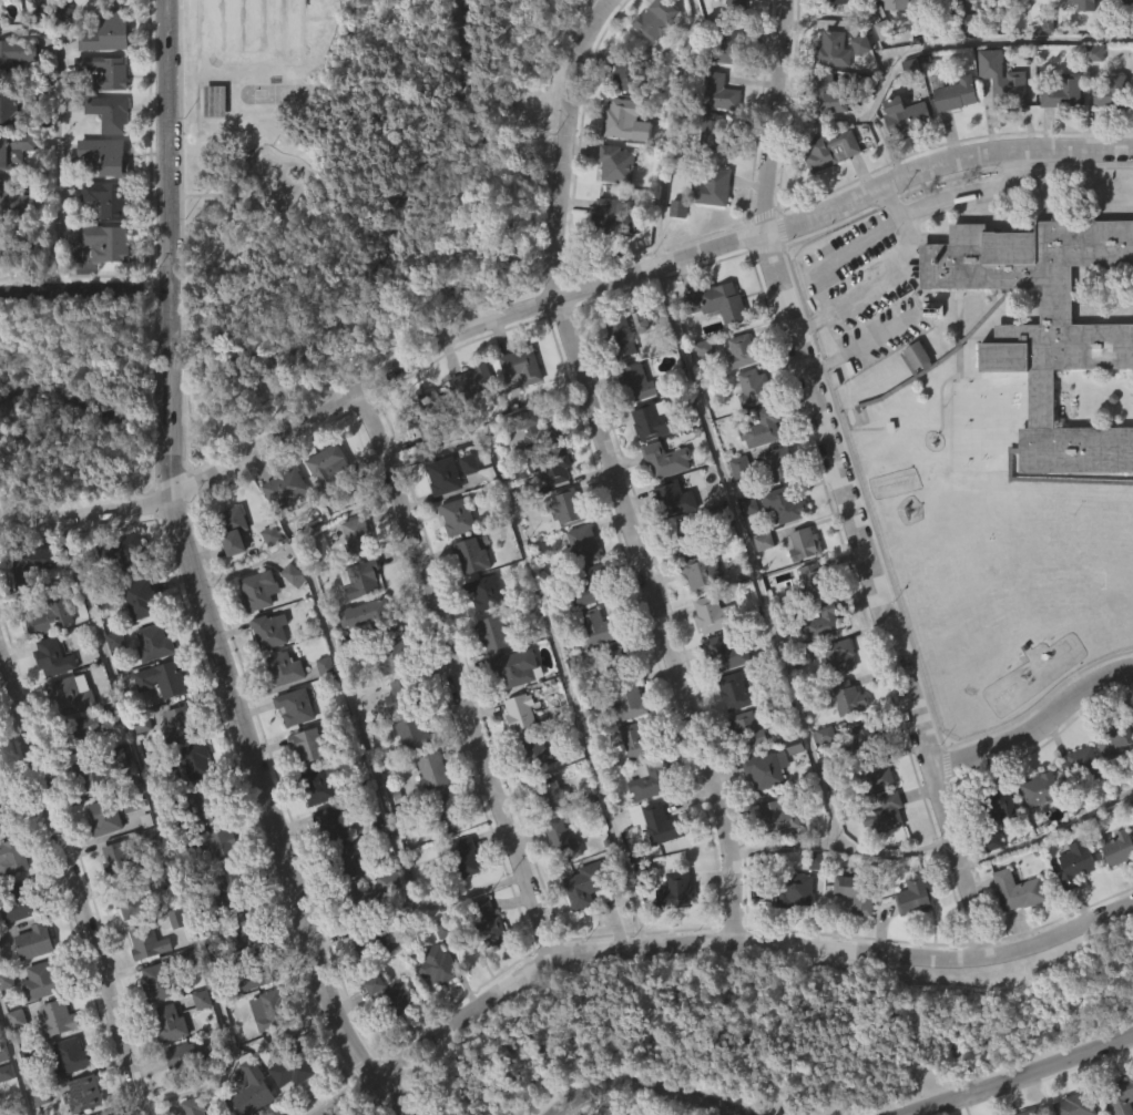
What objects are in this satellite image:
building: (839, 3)
building: (1129, 3)
building: (897, 4)
building: (978, 4)
building: (1082, 4)
building: (938, 6)
building: (6, 19)
building: (662, 19)
building: (94, 20)
building: (32, 22)
building: (1021, 25)
building: (977, 28)
building: (1117, 28)
building: (727, 30)
building: (836, 30)
building: (929, 30)
building: (110, 32)
building: (889, 32)
building: (1072, 33)
road: (933, 45)
building: (728, 47)
building: (834, 50)
building: (16, 52)
building: (652, 61)
building: (106, 71)
building: (879, 73)
building: (632, 74)
building: (857, 88)
building: (1002, 88)
building: (717, 91)
building: (1064, 91)
building: (1109, 92)
building: (957, 93)
building: (829, 94)
building: (1090, 96)
building: (1131, 98)
building: (18, 104)
building: (112, 112)
building: (909, 114)
building: (623, 120)
building: (999, 123)
road: (671, 130)
road: (62, 132)
building: (718, 132)
building: (1059, 135)
building: (1108, 136)
building: (951, 137)
road: (562, 142)
building: (211, 144)
building: (16, 147)
building: (830, 150)
building: (108, 153)
building: (900, 158)
building: (616, 164)
park: (357, 185)
building: (713, 187)
building: (827, 193)
building: (18, 195)
building: (110, 197)
road: (916, 207)
building: (614, 215)
road: (902, 219)
building: (707, 232)
building: (108, 241)
building: (16, 248)
building: (602, 258)
building: (573, 269)
road: (83, 286)
building: (102, 286)
building: (2, 289)
road: (850, 293)
road: (552, 298)
building: (721, 301)
building: (653, 316)
building: (1040, 334)
building: (621, 337)
road: (861, 340)
building: (713, 346)
building: (743, 351)
building: (1043, 370)
building: (522, 372)
building: (617, 379)
building: (637, 383)
building: (755, 388)
building: (469, 390)
building: (698, 391)
building: (736, 395)
building: (910, 400)
building: (431, 408)
building: (516, 411)
building: (652, 420)
building: (633, 426)
building: (463, 428)
building: (763, 428)
building: (666, 458)
building: (647, 463)
building: (780, 464)
building: (758, 471)
building: (538, 473)
building: (448, 475)
road: (843, 481)
building: (675, 499)
building: (661, 503)
building: (562, 507)
building: (784, 507)
building: (735, 510)
building: (327, 512)
building: (461, 518)
building: (440, 519)
building: (236, 530)
building: (282, 530)
building: (691, 540)
building: (671, 542)
building: (361, 543)
building: (581, 546)
building: (805, 546)
building: (779, 548)
building: (563, 549)
building: (745, 550)
building: (123, 553)
building: (476, 554)
building: (452, 560)
building: (34, 564)
building: (229, 572)
building: (704, 573)
road: (197, 579)
building: (363, 580)
building: (815, 581)
building: (759, 584)
building: (800, 585)
building: (576, 590)
building: (261, 591)
building: (486, 594)
building: (119, 595)
building: (143, 599)
building: (468, 599)
road: (765, 604)
building: (29, 605)
building: (716, 614)
road: (659, 615)
building: (697, 615)
building: (54, 616)
building: (371, 617)
building: (289, 618)
building: (826, 621)
building: (809, 623)
road: (550, 627)
building: (596, 627)
building: (267, 630)
building: (253, 634)
building: (493, 634)
building: (154, 642)
building: (137, 643)
building: (729, 654)
building: (841, 655)
building: (52, 656)
building: (392, 656)
building: (705, 657)
building: (365, 658)
building: (819, 664)
building: (284, 667)
building: (520, 668)
building: (598, 671)
building: (264, 674)
building: (490, 675)
building: (162, 677)
road: (438, 681)
building: (112, 684)
building: (738, 692)
building: (407, 695)
building: (73, 696)
building: (846, 696)
building: (721, 697)
building: (50, 699)
building: (605, 700)
building: (295, 705)
building: (558, 705)
building: (320, 708)
building: (520, 710)
building: (280, 712)
building: (159, 722)
building: (181, 723)
road: (1039, 727)
building: (752, 729)
building: (84, 730)
building: (415, 733)
building: (732, 733)
road: (363, 734)
building: (1111, 736)
building: (396, 738)
building: (861, 739)
building: (841, 740)
building: (622, 743)
building: (310, 745)
building: (290, 749)
building: (540, 753)
building: (516, 755)
building: (188, 759)
building: (773, 765)
building: (1078, 767)
building: (103, 768)
building: (433, 770)
building: (743, 773)
building: (877, 774)
building: (406, 775)
building: (1, 777)
building: (819, 778)
building: (858, 781)
building: (318, 784)
building: (1109, 784)
building: (635, 785)
building: (303, 788)
building: (790, 788)
building: (1039, 789)
building: (537, 796)
building: (550, 796)
building: (1132, 801)
building: (188, 805)
building: (996, 807)
building: (208, 808)
building: (1076, 808)
building: (112, 810)
building: (451, 811)
building: (762, 811)
building: (889, 811)
building: (7, 814)
building: (428, 814)
building: (85, 817)
building: (782, 817)
building: (872, 819)
building: (649, 822)
building: (330, 824)
building: (313, 829)
building: (1034, 832)
road: (1051, 832)
road: (170, 838)
building: (545, 839)
building: (563, 840)
building: (217, 843)
building: (1120, 847)
road: (896, 851)
building: (447, 853)
building: (462, 857)
building: (773, 857)
building: (13, 858)
building: (880, 858)
building: (996, 858)
building: (99, 860)
building: (120, 861)
building: (345, 863)
building: (1078, 863)
building: (326, 866)
building: (655, 867)
road: (73, 881)
building: (559, 881)
building: (591, 886)
building: (215, 887)
building: (232, 888)
building: (795, 889)
building: (1114, 890)
building: (857, 891)
building: (1020, 891)
building: (112, 896)
building: (915, 896)
building: (461, 900)
building: (21, 901)
building: (134, 901)
building: (688, 903)
building: (812, 903)
building: (366, 904)
building: (1071, 907)
building: (387, 924)
building: (487, 924)
building: (581, 928)
building: (251, 929)
building: (225, 931)
building: (672, 933)
building: (789, 933)
building: (1013, 933)
building: (851, 935)
building: (910, 938)
road: (704, 940)
building: (34, 941)
building: (150, 943)
building: (17, 944)
building: (124, 950)
building: (173, 961)
building: (438, 965)
building: (483, 965)
building: (255, 969)
building: (41, 980)
building: (161, 981)
building: (143, 986)
building: (389, 993)
building: (432, 1007)
building: (272, 1010)
building: (60, 1017)
building: (4, 1021)
building: (34, 1022)
building: (170, 1023)
building: (152, 1024)
building: (387, 1036)
building: (2, 1053)
building: (265, 1053)
building: (192, 1054)
building: (70, 1056)
road: (18, 1057)
building: (13, 1061)
building: (53, 1061)
building: (293, 1061)
building: (165, 1066)
road: (1019, 1075)
road: (650, 1081)
building: (253, 1087)
building: (84, 1093)
building: (1122, 1094)
building: (1, 1096)
building: (67, 1098)
building: (1078, 1104)
building: (194, 1106)
building: (293, 1107)
building: (4, 1111)
building: (1030, 1112)
building: (218, 1113)
building: (103, 1114)

